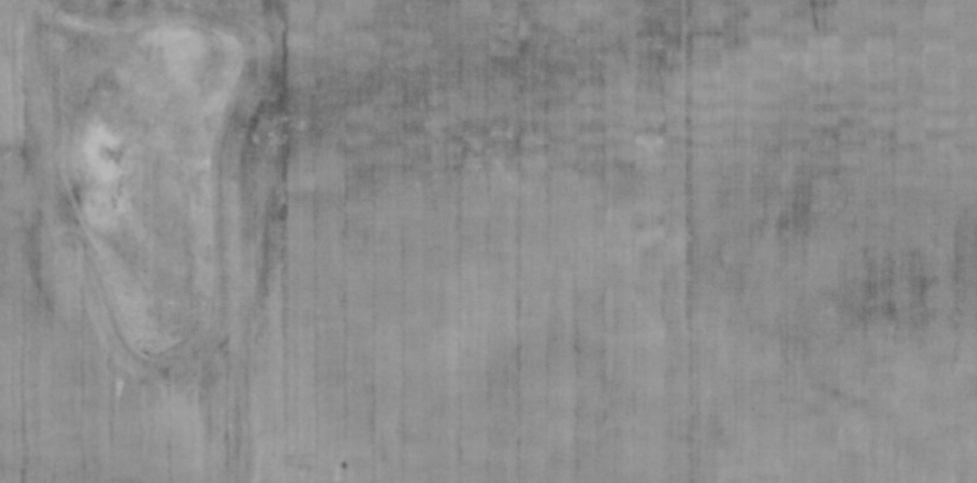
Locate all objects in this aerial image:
road: (197, 233)

